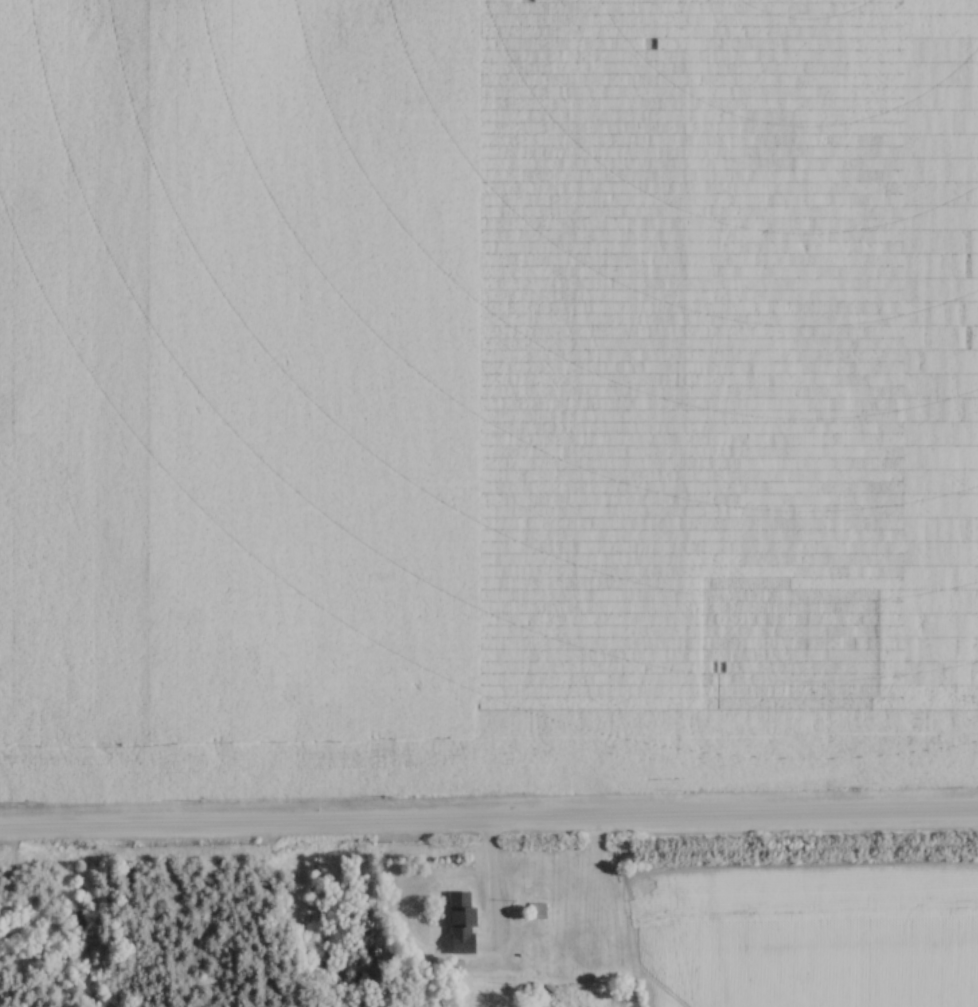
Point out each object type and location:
road: (488, 819)
road: (488, 885)
building: (539, 911)
building: (461, 914)

